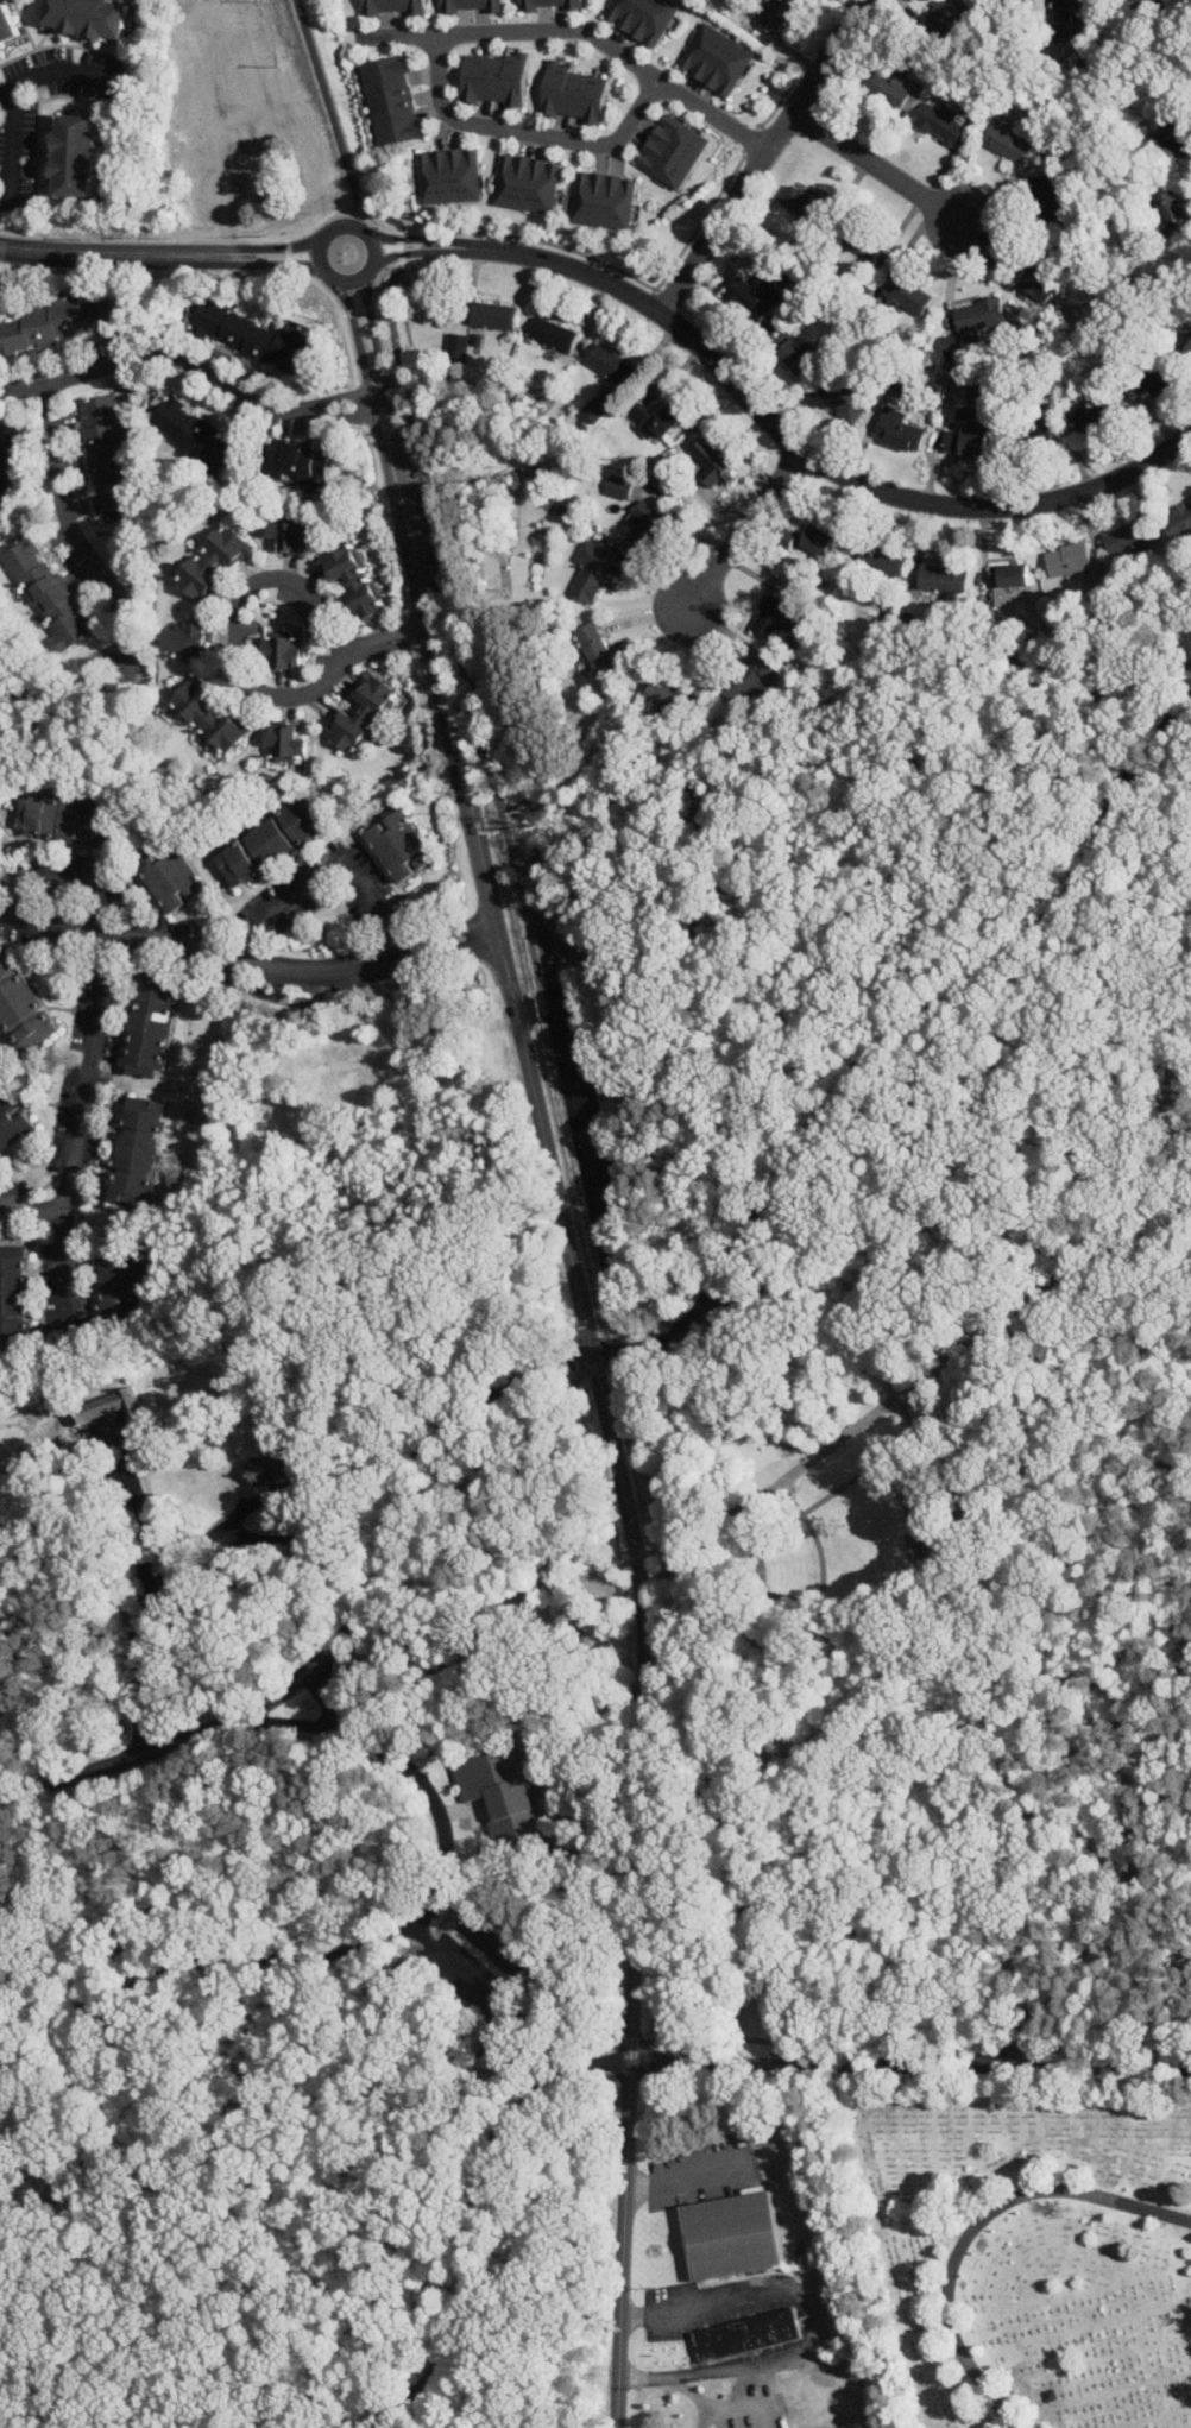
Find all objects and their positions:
building: (990, 0)
building: (1117, 0)
building: (1151, 4)
building: (549, 5)
building: (471, 6)
building: (393, 7)
building: (944, 14)
building: (777, 15)
building: (88, 17)
building: (644, 18)
building: (1066, 20)
building: (7, 26)
road: (580, 30)
building: (718, 58)
road: (52, 70)
building: (494, 80)
building: (888, 86)
building: (572, 94)
building: (392, 100)
building: (941, 121)
road: (524, 131)
building: (1177, 140)
building: (1008, 141)
building: (673, 150)
building: (75, 153)
road: (762, 158)
road: (874, 169)
building: (448, 175)
building: (525, 182)
building: (1047, 197)
building: (603, 198)
building: (804, 202)
building: (1172, 207)
building: (864, 240)
road: (320, 253)
road: (159, 254)
building: (1039, 273)
building: (754, 294)
building: (907, 294)
building: (493, 315)
building: (61, 322)
building: (972, 323)
building: (554, 333)
building: (246, 334)
building: (1184, 336)
building: (458, 343)
building: (794, 351)
building: (612, 364)
road: (194, 371)
building: (1161, 379)
building: (979, 392)
building: (842, 399)
building: (593, 410)
building: (654, 417)
building: (1089, 418)
building: (897, 429)
road: (773, 430)
building: (194, 434)
building: (1036, 435)
building: (969, 440)
building: (106, 454)
building: (712, 460)
building: (297, 461)
building: (8, 462)
road: (426, 481)
building: (619, 486)
building: (647, 521)
building: (1178, 522)
road: (741, 531)
road: (70, 532)
building: (290, 532)
building: (1129, 537)
building: (813, 538)
building: (1069, 557)
building: (882, 560)
building: (214, 561)
building: (599, 568)
building: (1012, 574)
building: (352, 576)
building: (944, 578)
building: (48, 592)
road: (244, 592)
building: (777, 616)
building: (189, 639)
building: (601, 650)
building: (284, 651)
building: (751, 677)
building: (664, 690)
building: (363, 711)
building: (210, 715)
building: (285, 743)
building: (70, 819)
building: (0, 830)
building: (270, 841)
building: (401, 845)
road: (65, 870)
road: (327, 872)
building: (171, 876)
road: (53, 932)
road: (140, 948)
building: (21, 1007)
road: (529, 1009)
building: (151, 1024)
road: (890, 1036)
building: (258, 1057)
building: (392, 1083)
building: (13, 1121)
building: (265, 1134)
building: (137, 1152)
parking lot: (590, 1159)
road: (581, 1161)
road: (940, 1162)
road: (63, 1265)
building: (125, 1280)
building: (15, 1295)
parking lot: (711, 1313)
road: (650, 1323)
building: (682, 1323)
road: (587, 1333)
parking lot: (686, 1335)
road: (616, 1338)
road: (618, 1350)
road: (601, 1364)
road: (777, 1373)
road: (899, 1400)
building: (96, 1406)
road: (639, 1450)
building: (29, 1453)
building: (6, 1469)
building: (269, 1470)
road: (415, 1475)
road: (774, 1483)
road: (781, 1484)
road: (838, 1487)
road: (899, 1493)
road: (796, 1506)
road: (196, 1545)
road: (662, 1551)
road: (820, 1554)
road: (916, 1589)
road: (137, 1590)
road: (765, 1591)
park: (636, 1600)
road: (867, 1609)
road: (855, 1632)
road: (1124, 1654)
road: (384, 1695)
building: (315, 1707)
road: (575, 1713)
road: (288, 1724)
road: (162, 1748)
road: (1073, 1757)
road: (420, 1781)
building: (500, 1791)
road: (493, 1867)
building: (415, 1936)
parking lot: (491, 1973)
road: (767, 2004)
road: (536, 2012)
building: (487, 2019)
road: (912, 2026)
road: (1004, 2033)
road: (88, 2057)
road: (666, 2064)
road: (27, 2098)
road: (301, 2105)
park: (708, 2109)
road: (208, 2144)
park: (17, 2145)
road: (687, 2176)
road: (21, 2218)
road: (977, 2227)
building: (733, 2233)
road: (380, 2245)
park: (1017, 2252)
road: (808, 2298)
building: (745, 2334)
road: (676, 2382)
road: (615, 2417)
road: (288, 2421)

